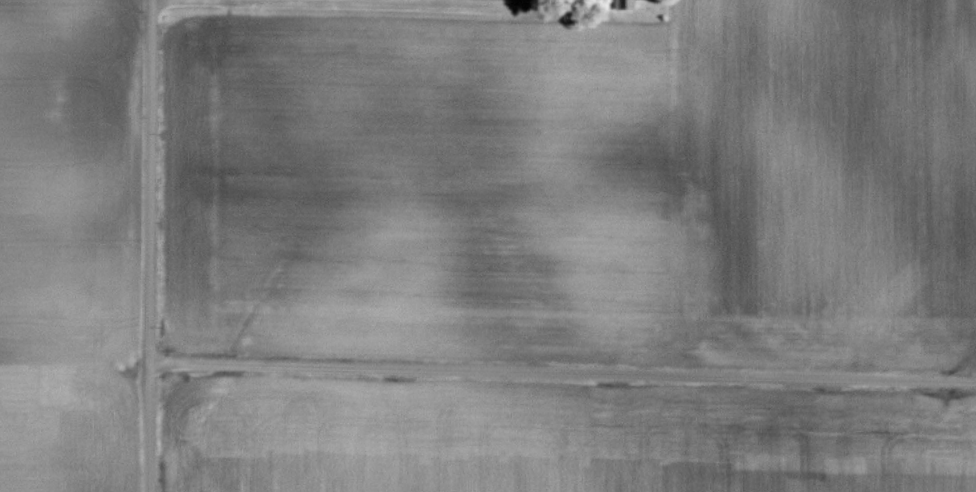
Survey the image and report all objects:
road: (357, 9)
road: (145, 245)
road: (560, 368)

